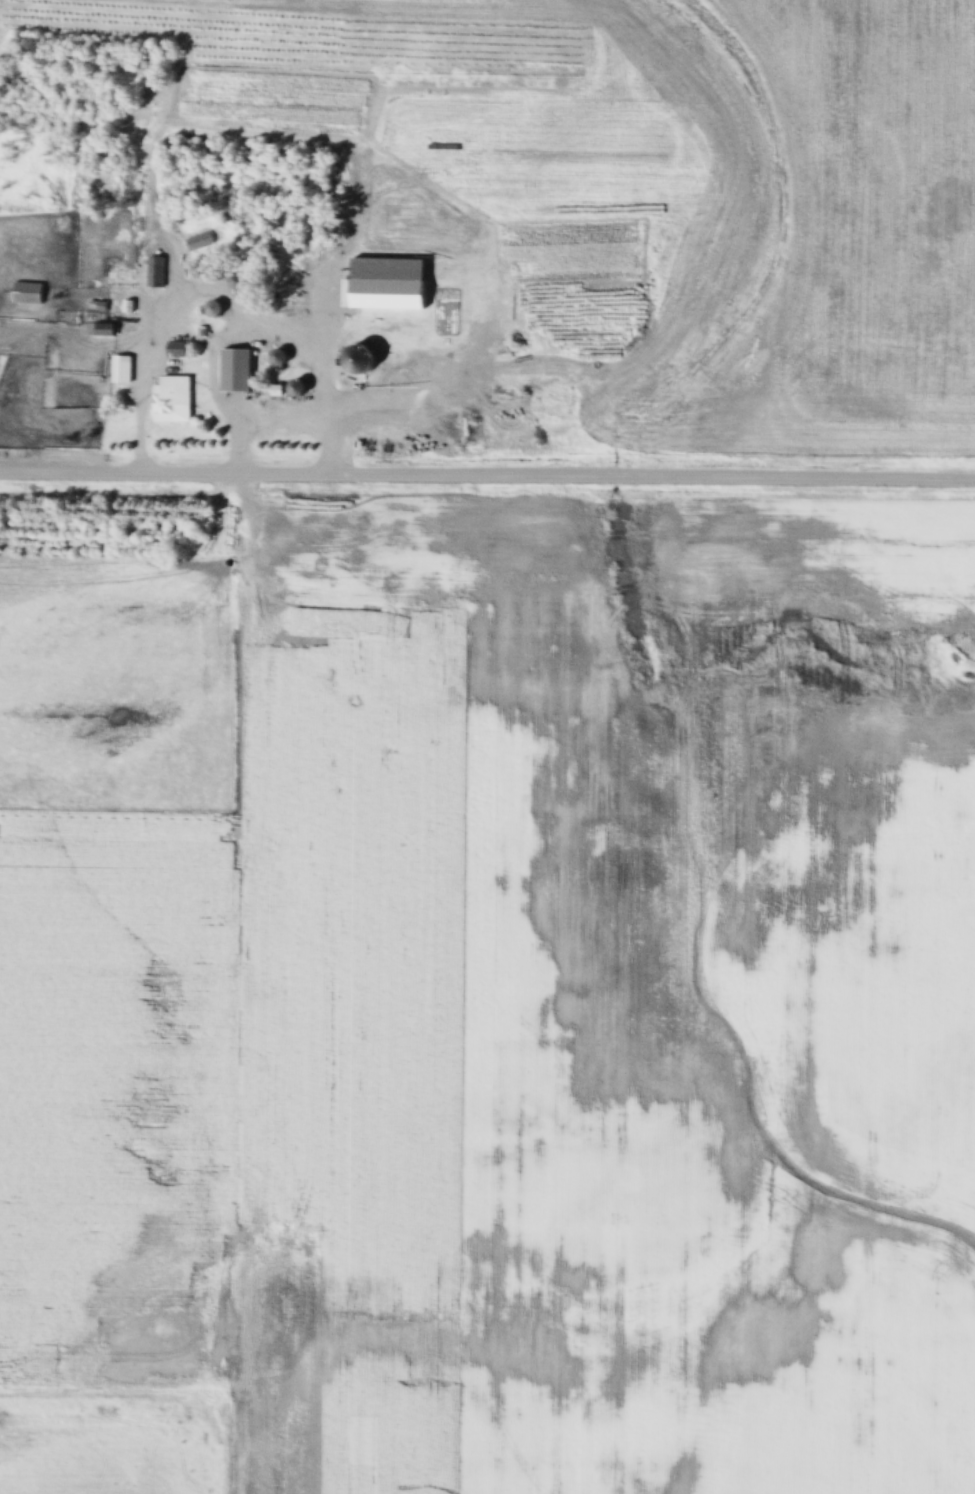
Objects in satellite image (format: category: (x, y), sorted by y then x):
building: (111, 271)
building: (156, 271)
building: (236, 280)
road: (222, 291)
building: (28, 293)
building: (389, 293)
building: (214, 308)
building: (112, 325)
building: (177, 349)
building: (122, 369)
building: (237, 370)
building: (171, 397)
road: (261, 420)
road: (487, 471)

